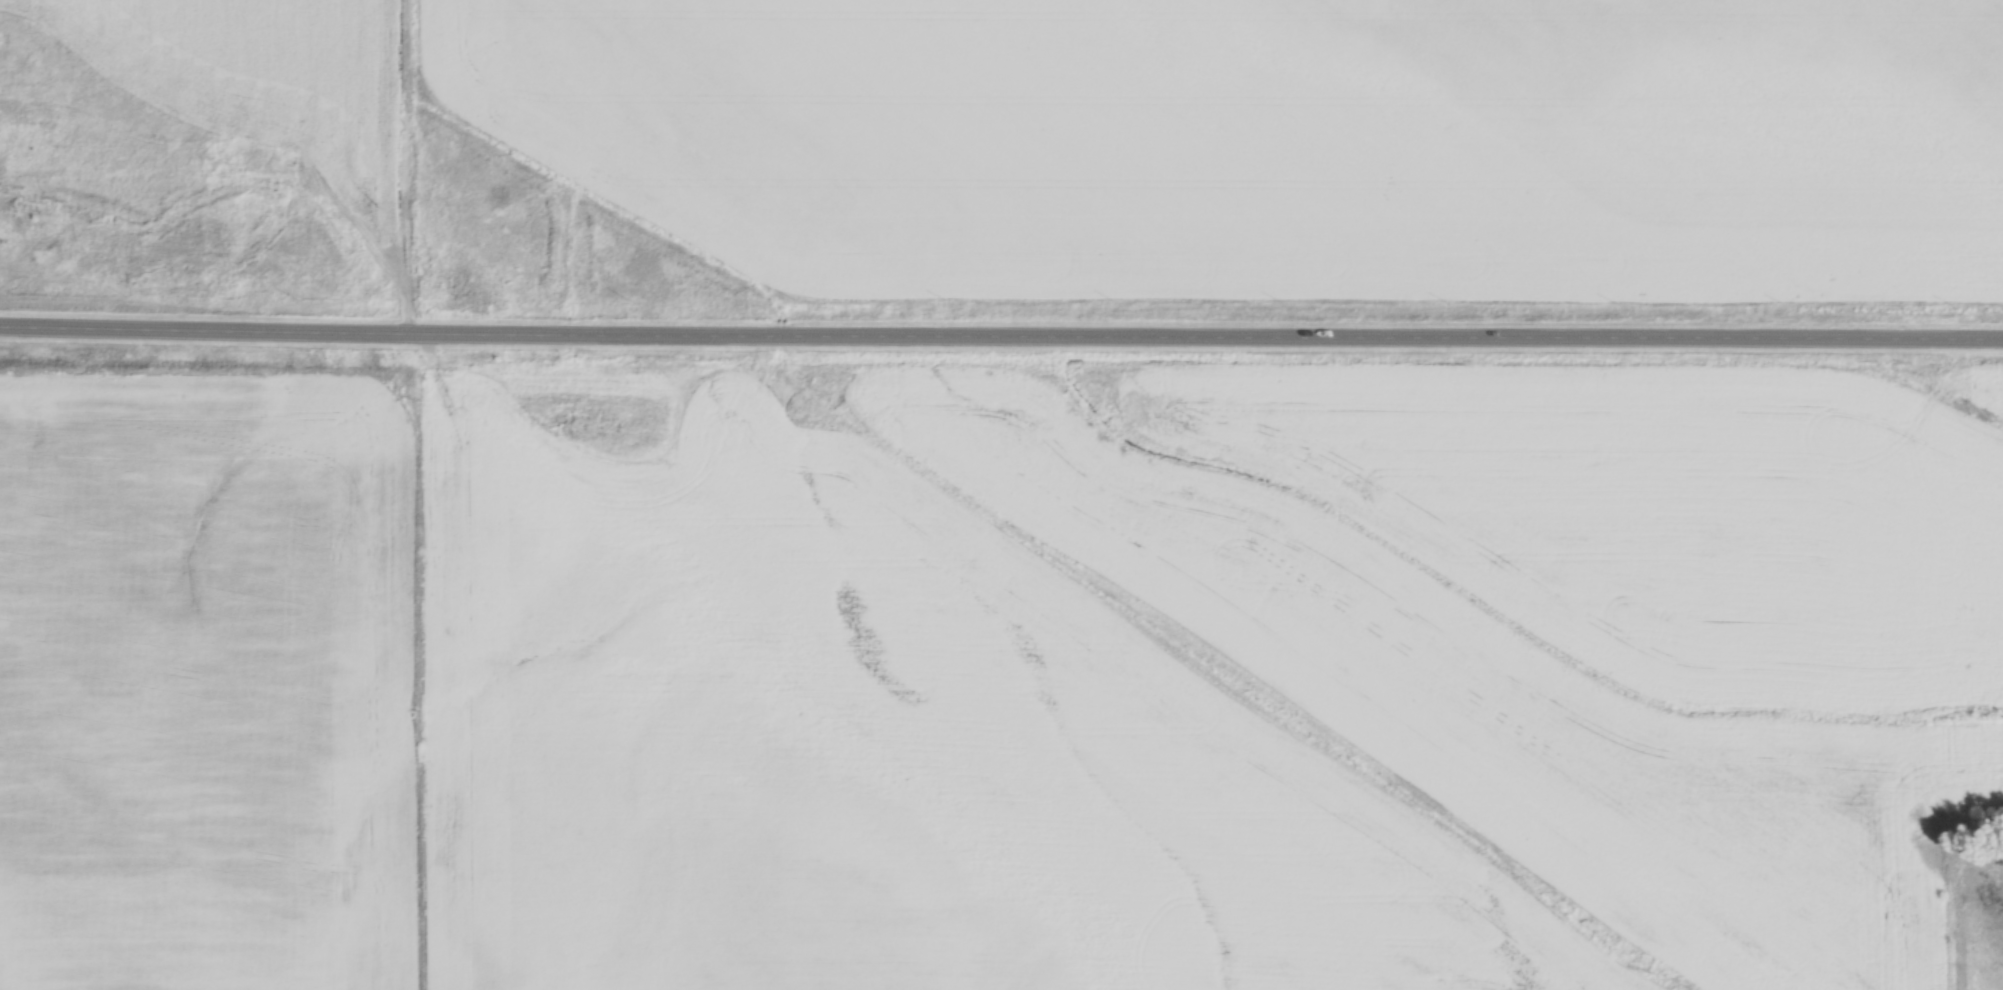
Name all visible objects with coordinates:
road: (1001, 338)

